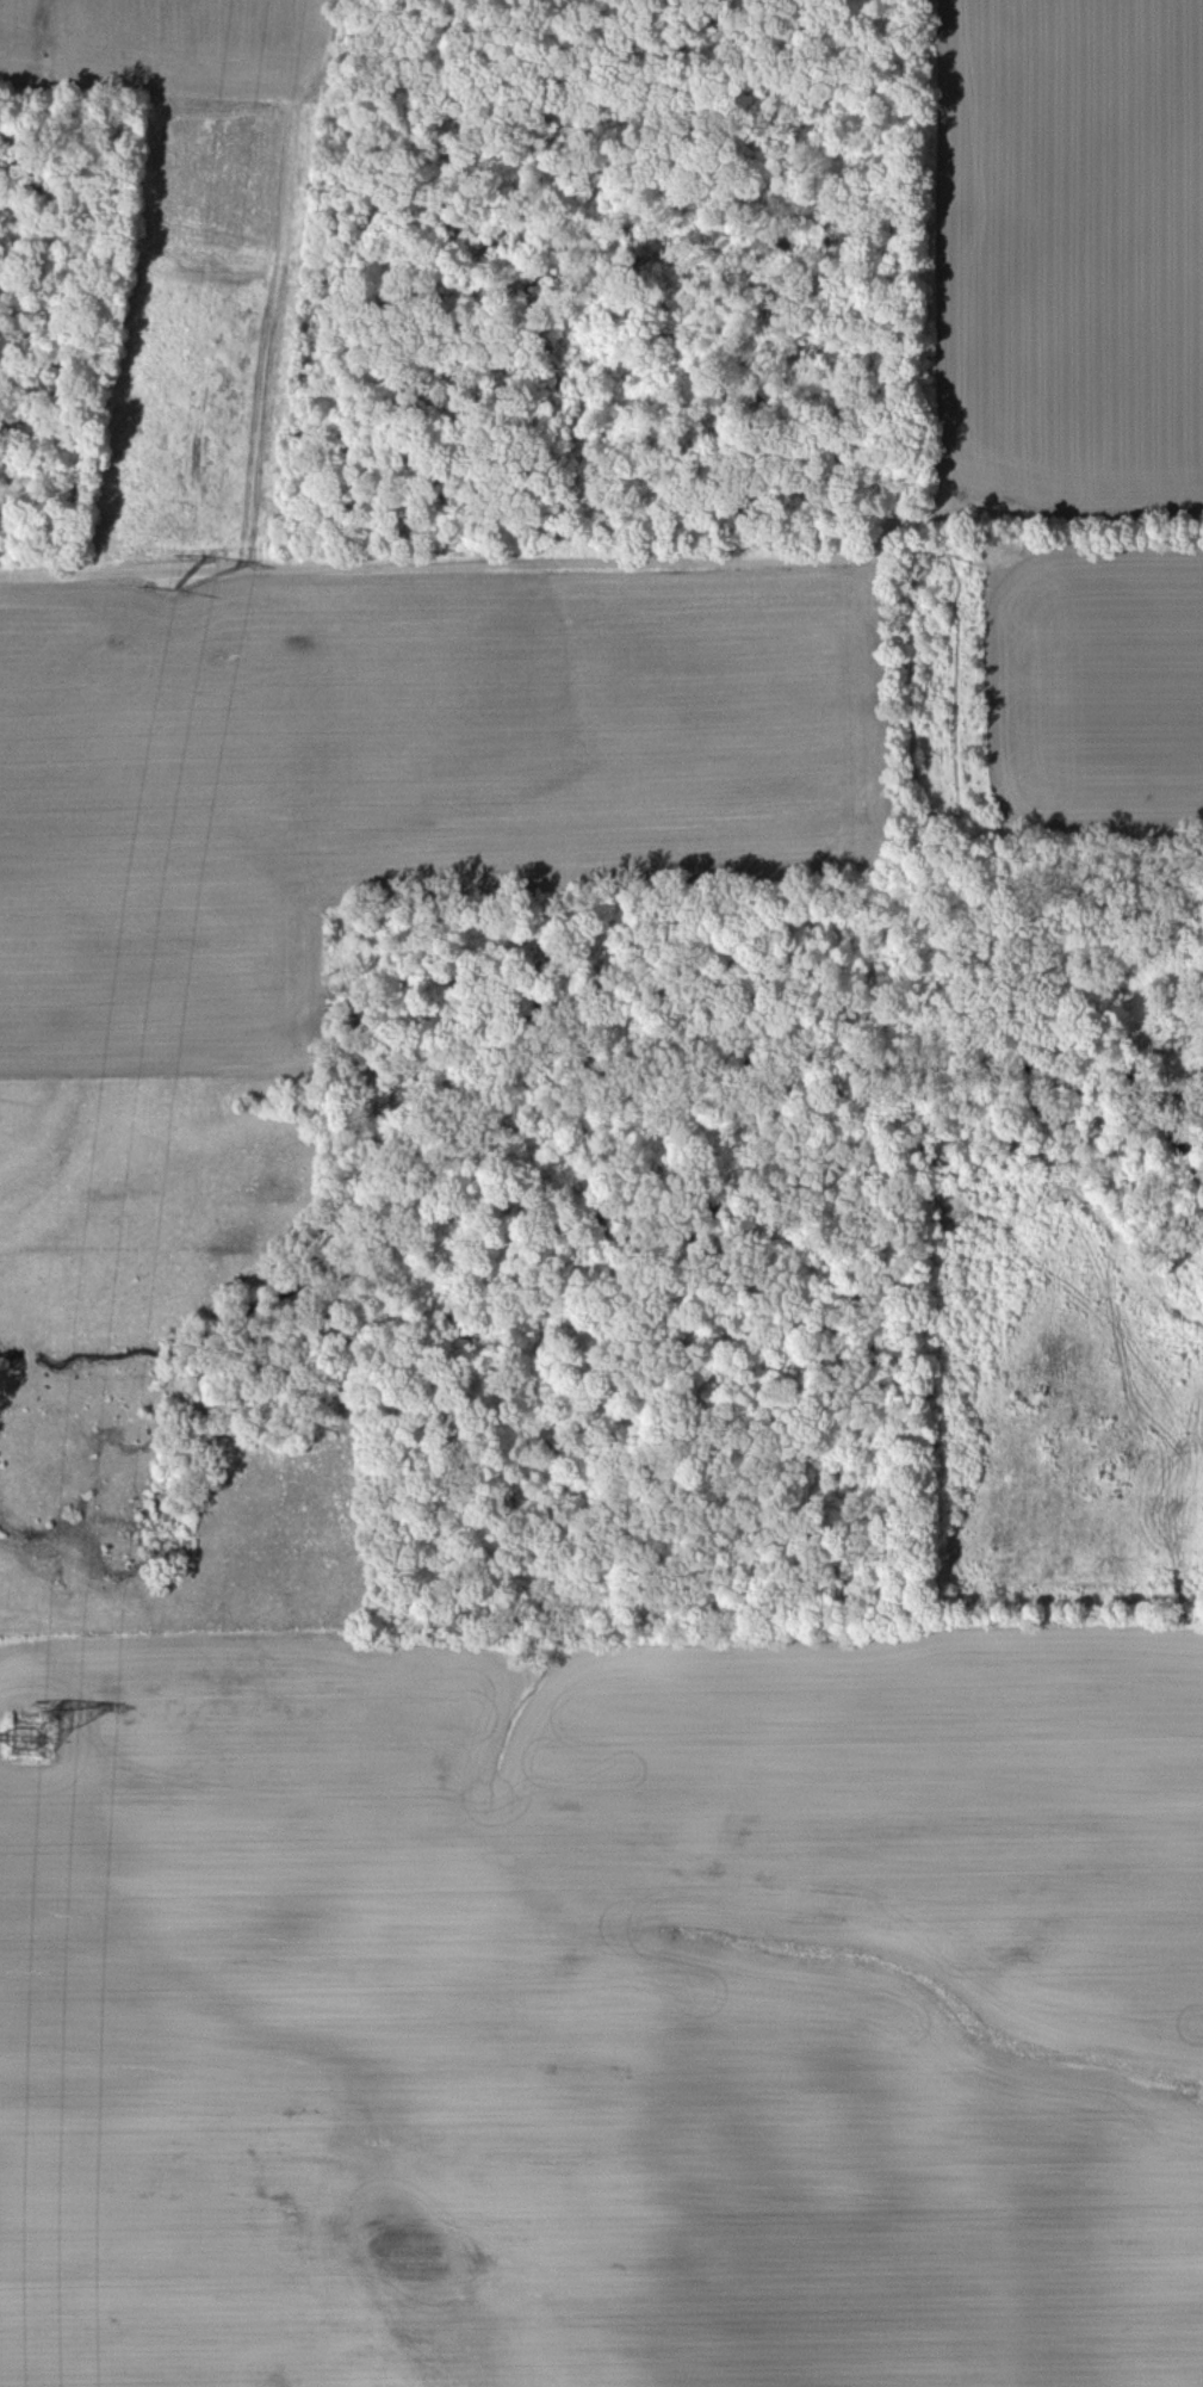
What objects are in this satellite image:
power tower: (176, 590)
power tower: (35, 1736)

